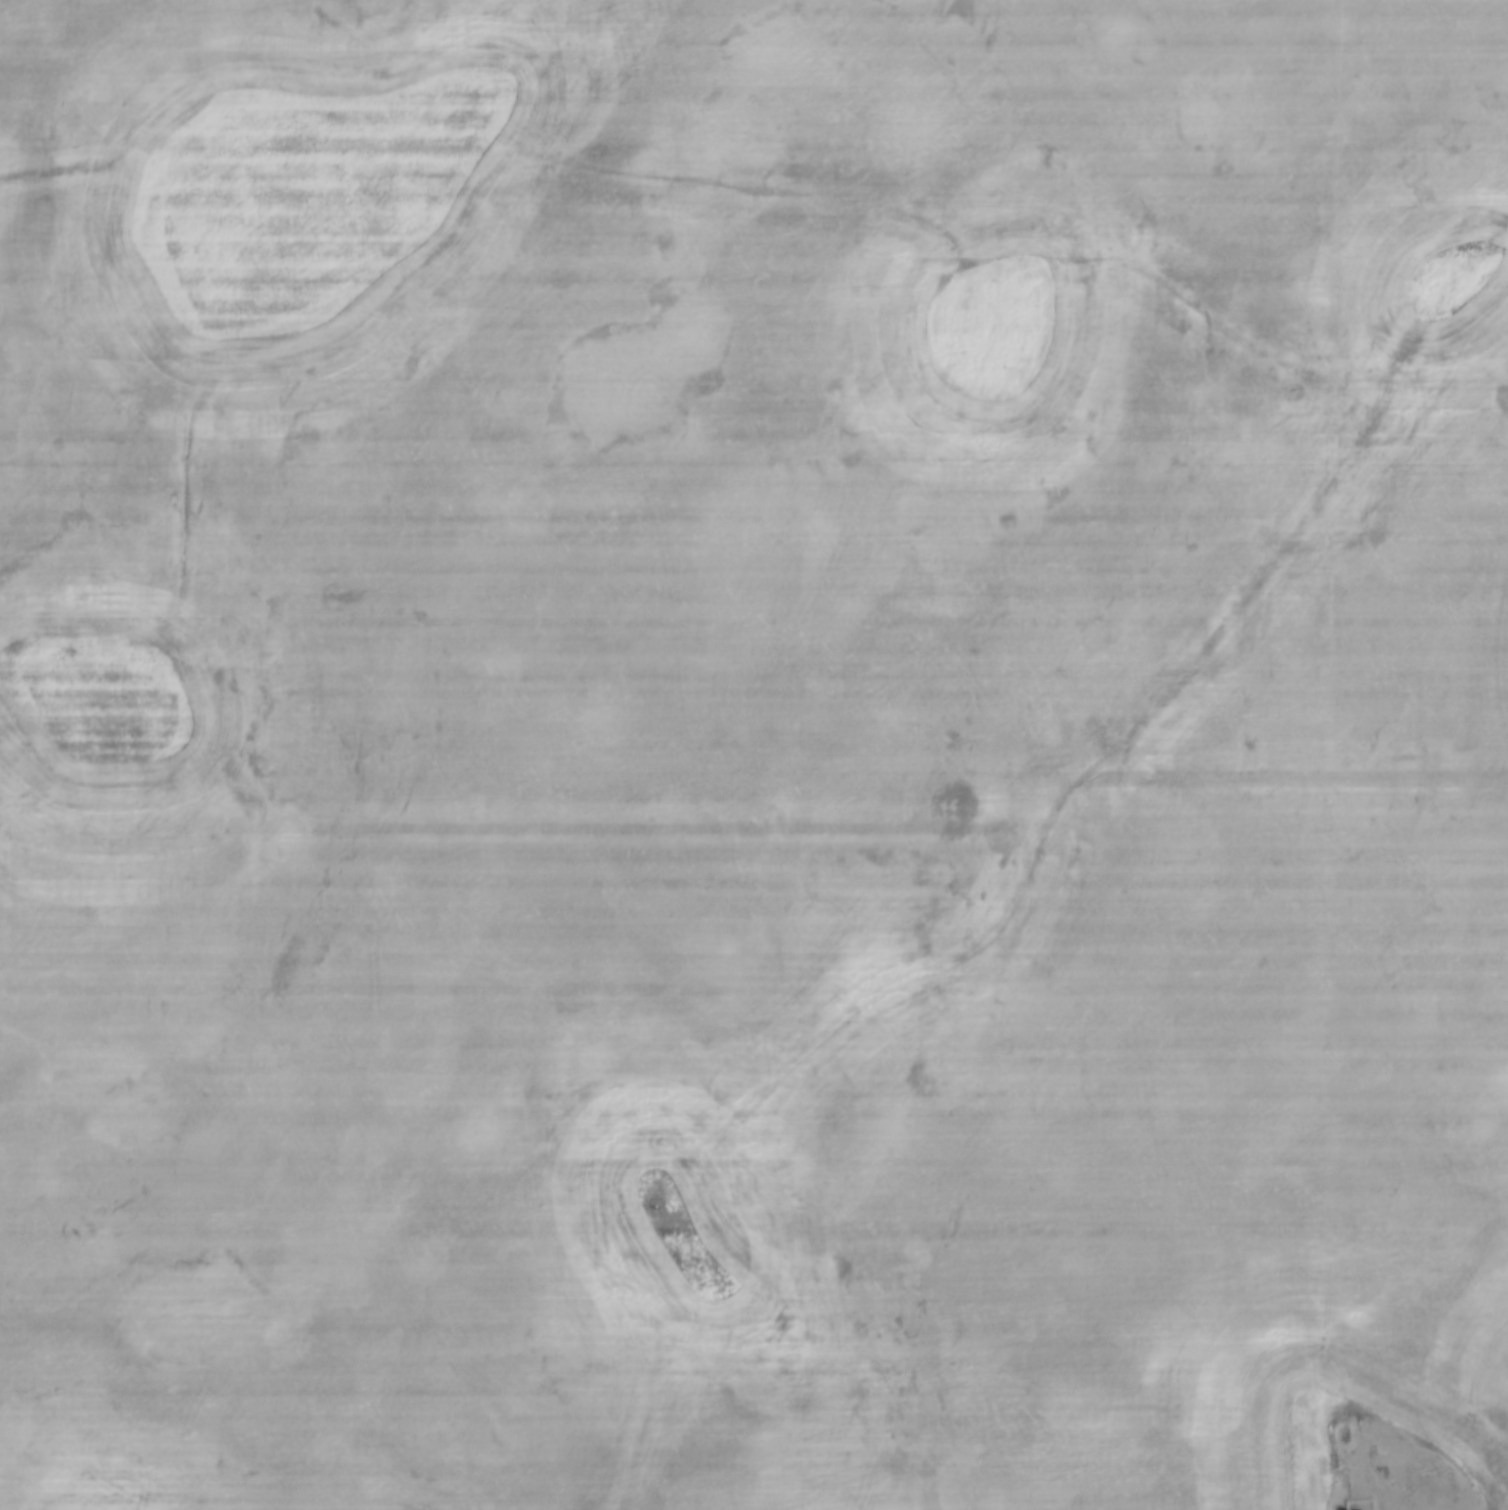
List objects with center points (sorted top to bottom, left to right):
road: (1398, 1494)

